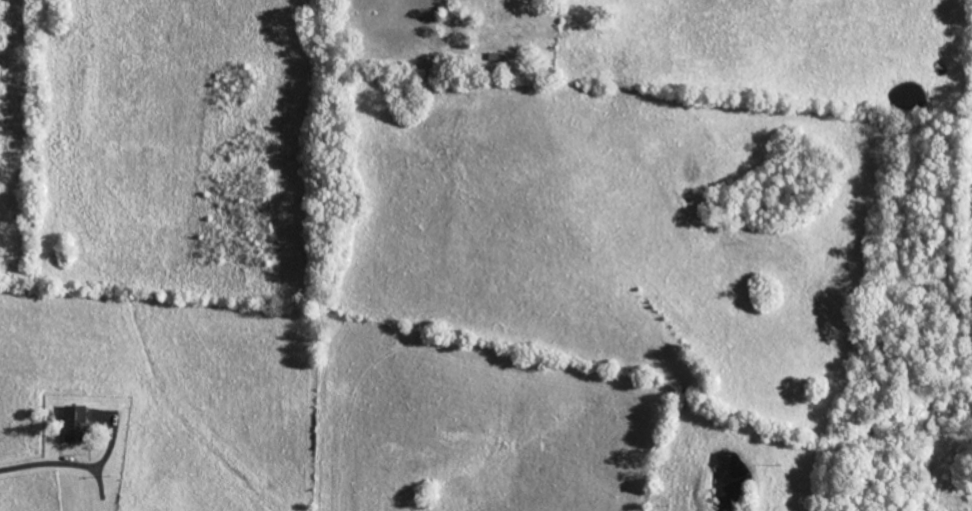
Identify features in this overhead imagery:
building: (72, 423)
road: (36, 466)

